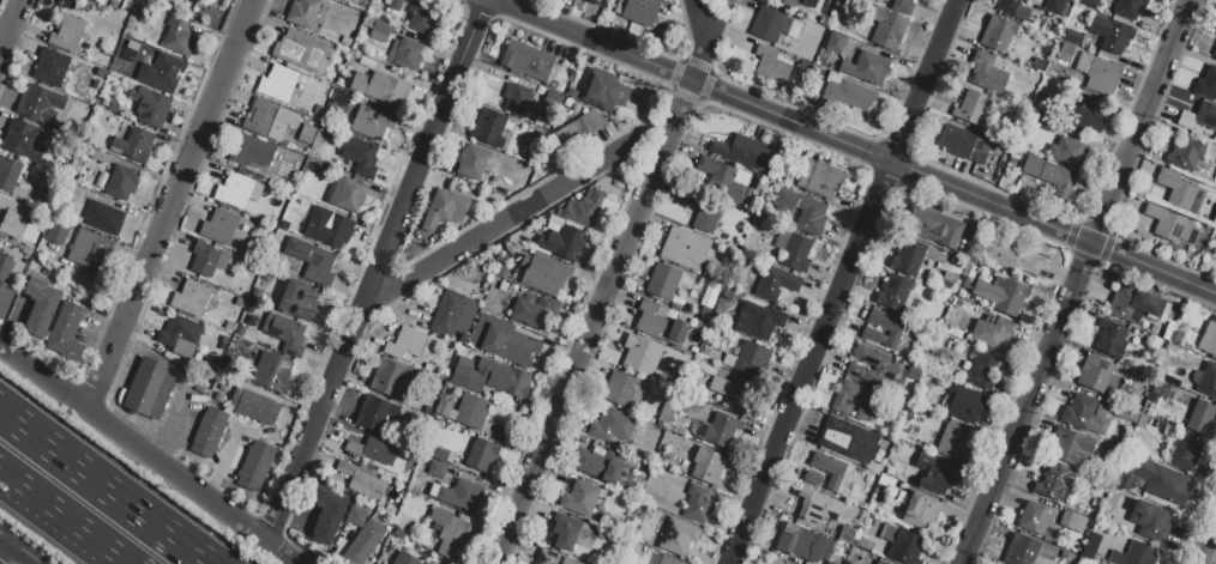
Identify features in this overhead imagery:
building: (807, 2)
building: (1085, 2)
building: (393, 5)
building: (902, 6)
building: (1053, 6)
building: (1130, 7)
building: (1012, 8)
building: (639, 11)
building: (302, 12)
building: (422, 17)
road: (716, 23)
building: (773, 24)
road: (11, 26)
building: (884, 29)
building: (379, 30)
building: (1215, 30)
building: (66, 31)
building: (998, 34)
building: (1110, 34)
building: (179, 36)
building: (1073, 36)
road: (704, 41)
building: (835, 41)
building: (300, 49)
road: (938, 50)
building: (1065, 50)
building: (405, 51)
building: (1214, 53)
building: (526, 60)
building: (771, 65)
building: (50, 66)
building: (867, 67)
building: (162, 71)
building: (987, 72)
building: (800, 73)
building: (1102, 75)
building: (277, 83)
building: (1206, 83)
building: (379, 86)
building: (604, 92)
building: (849, 93)
building: (339, 96)
building: (517, 96)
road: (684, 102)
building: (38, 103)
building: (150, 105)
building: (1043, 105)
building: (971, 107)
building: (1085, 113)
building: (260, 116)
building: (1198, 116)
building: (591, 120)
building: (371, 121)
road: (793, 122)
building: (1046, 126)
building: (488, 127)
building: (571, 131)
building: (306, 133)
building: (23, 140)
building: (133, 144)
building: (964, 145)
road: (650, 147)
building: (251, 151)
building: (1068, 151)
building: (745, 152)
building: (1185, 152)
building: (360, 154)
road: (896, 156)
building: (471, 160)
building: (8, 172)
building: (1051, 174)
building: (818, 177)
building: (721, 178)
building: (121, 181)
building: (1176, 189)
building: (237, 190)
building: (344, 193)
building: (71, 196)
road: (171, 206)
building: (443, 207)
building: (703, 208)
building: (580, 210)
building: (807, 213)
building: (104, 214)
building: (13, 218)
building: (1168, 224)
road: (499, 225)
building: (218, 226)
building: (932, 226)
building: (329, 230)
building: (58, 231)
building: (562, 242)
building: (684, 248)
building: (89, 249)
building: (793, 249)
building: (908, 255)
building: (1009, 255)
building: (207, 257)
building: (311, 260)
road: (1154, 268)
road: (377, 272)
building: (543, 273)
building: (662, 280)
road: (1077, 281)
building: (775, 283)
building: (5, 285)
building: (893, 292)
building: (1001, 293)
building: (189, 296)
building: (299, 299)
building: (40, 305)
building: (1133, 305)
building: (532, 311)
building: (452, 314)
building: (754, 319)
building: (660, 323)
building: (883, 327)
building: (992, 330)
building: (66, 332)
building: (284, 333)
building: (179, 335)
building: (1110, 339)
building: (506, 340)
building: (1208, 340)
building: (405, 344)
road: (586, 344)
building: (640, 353)
building: (751, 357)
building: (880, 364)
building: (979, 368)
building: (271, 372)
building: (1096, 374)
building: (489, 376)
building: (387, 377)
building: (1205, 380)
road: (801, 386)
building: (1156, 386)
building: (619, 388)
building: (146, 389)
building: (741, 395)
building: (854, 399)
building: (964, 402)
building: (253, 405)
building: (443, 407)
building: (470, 411)
building: (1121, 412)
building: (374, 413)
building: (1083, 416)
parking lot: (182, 417)
building: (1199, 417)
building: (1142, 418)
building: (437, 425)
building: (612, 425)
building: (722, 430)
building: (209, 431)
building: (805, 438)
building: (848, 439)
building: (952, 441)
building: (1070, 447)
building: (373, 449)
building: (1185, 451)
building: (438, 454)
building: (481, 454)
road: (146, 455)
building: (254, 465)
building: (706, 465)
building: (597, 466)
building: (435, 468)
building: (831, 472)
building: (934, 473)
building: (812, 478)
building: (362, 479)
building: (1154, 479)
building: (1053, 483)
road: (102, 487)
building: (457, 495)
building: (579, 498)
building: (698, 504)
building: (817, 505)
building: (1095, 505)
building: (920, 509)
building: (325, 514)
building: (356, 516)
road: (61, 517)
building: (1033, 517)
building: (1148, 521)
building: (564, 530)
building: (449, 532)
building: (678, 536)
building: (1091, 541)
building: (363, 542)
building: (397, 542)
building: (802, 542)
building: (903, 544)
road: (1208, 545)
road: (19, 548)
road: (5, 550)
building: (1019, 550)
building: (1064, 553)
building: (1086, 553)
building: (1132, 554)
building: (552, 558)
building: (405, 560)
building: (668, 560)
building: (776, 562)
building: (880, 562)
building: (830, 563)

